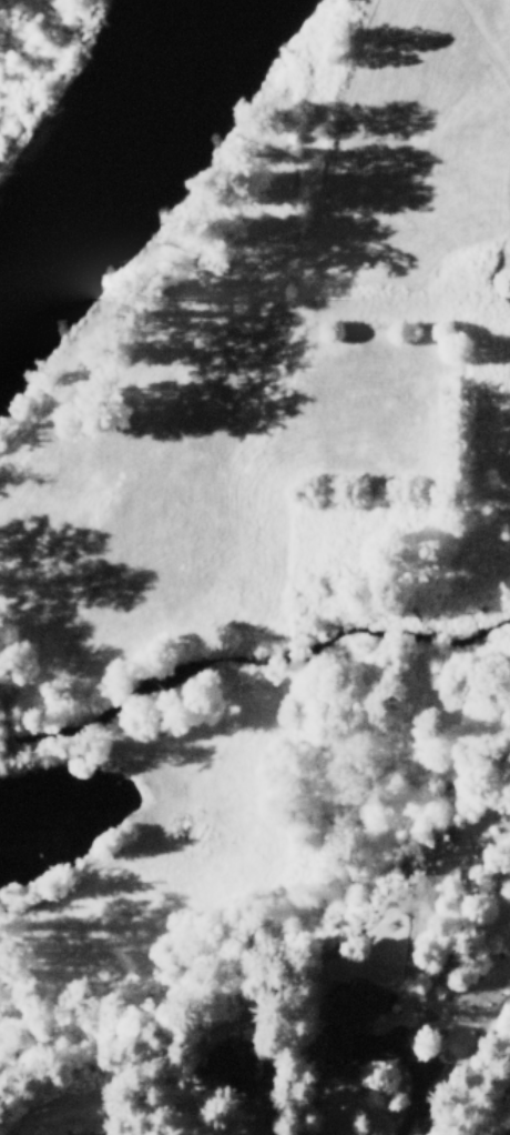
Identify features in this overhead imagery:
river: (111, 131)
river: (12, 255)
building: (358, 1007)
building: (245, 1055)
building: (108, 1132)

